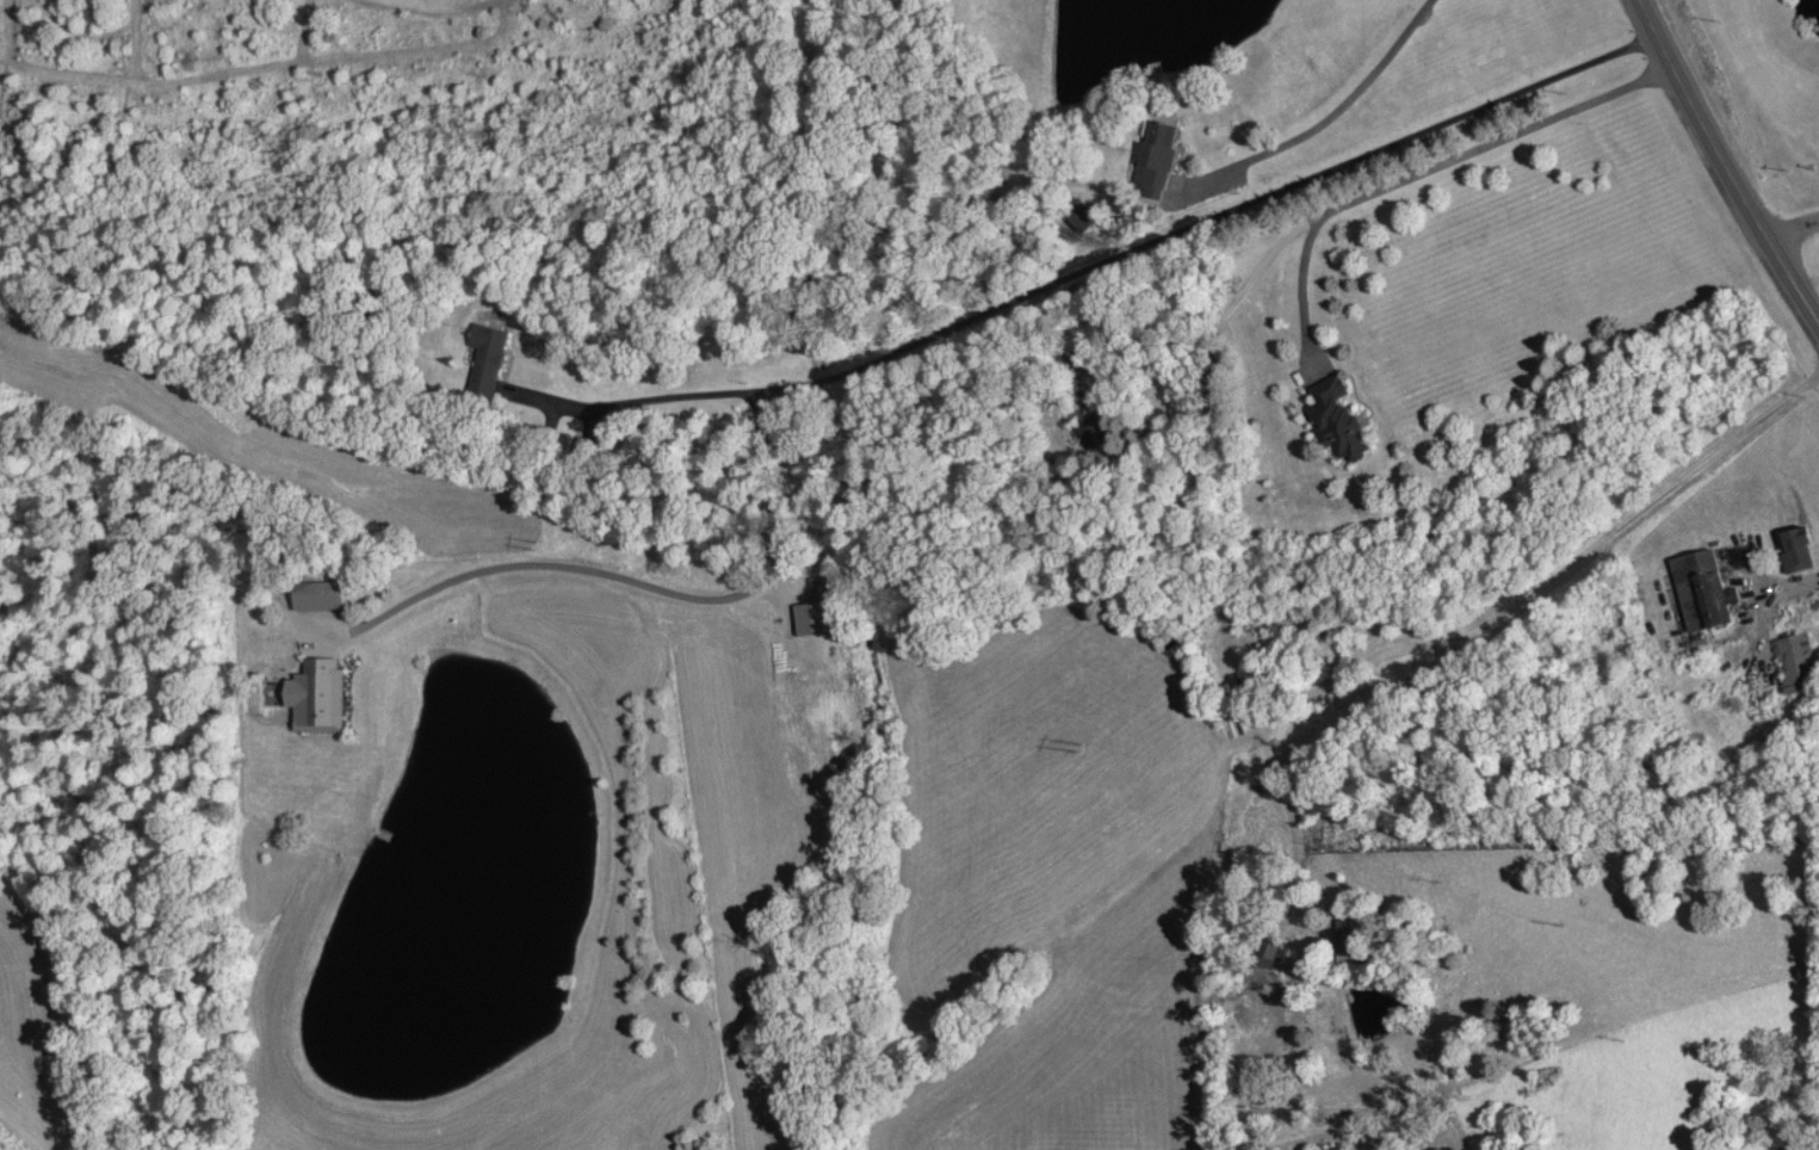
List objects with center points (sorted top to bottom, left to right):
road: (1335, 117)
building: (1153, 154)
road: (1722, 165)
road: (1430, 167)
road: (1790, 227)
road: (916, 346)
building: (483, 355)
road: (650, 402)
building: (1334, 421)
building: (1090, 427)
building: (1792, 550)
building: (817, 591)
building: (1697, 593)
building: (311, 596)
road: (1480, 631)
building: (1793, 664)
building: (318, 703)
building: (1347, 942)
building: (1258, 953)

